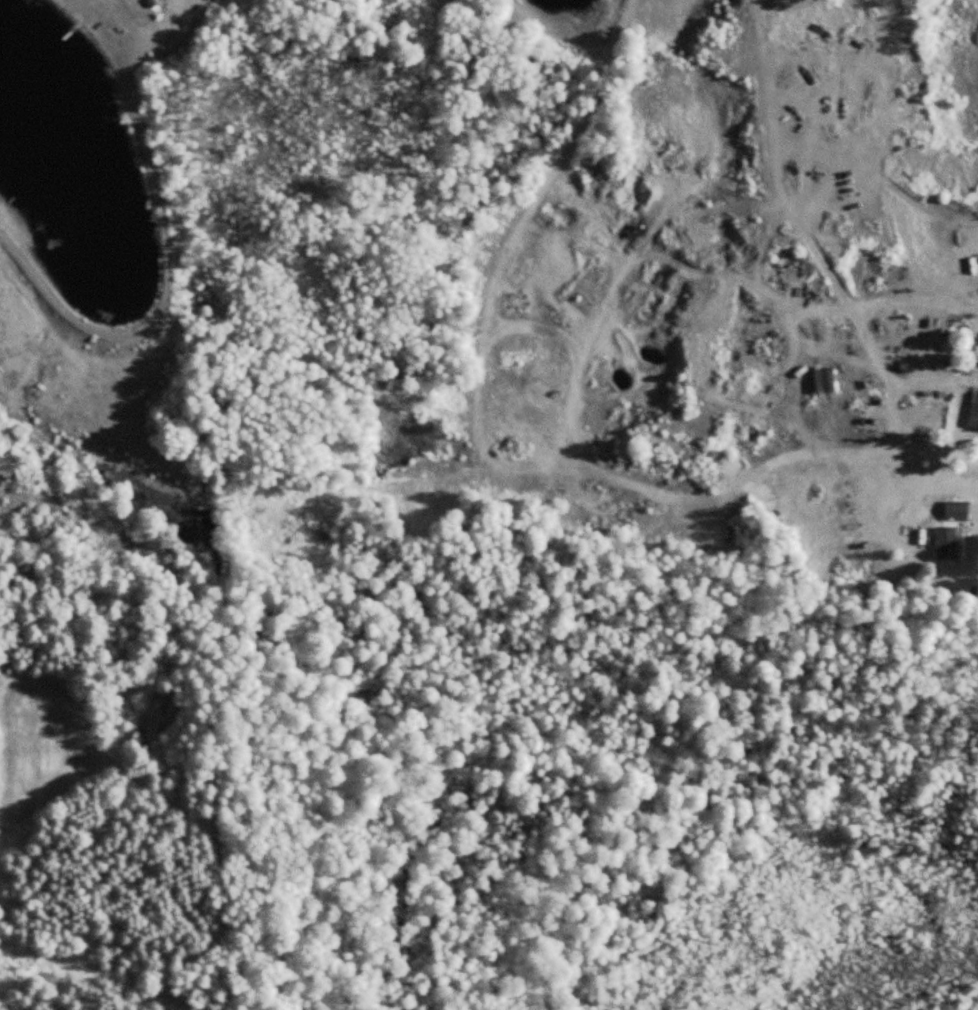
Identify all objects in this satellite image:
building: (973, 412)
building: (955, 510)
building: (945, 542)

